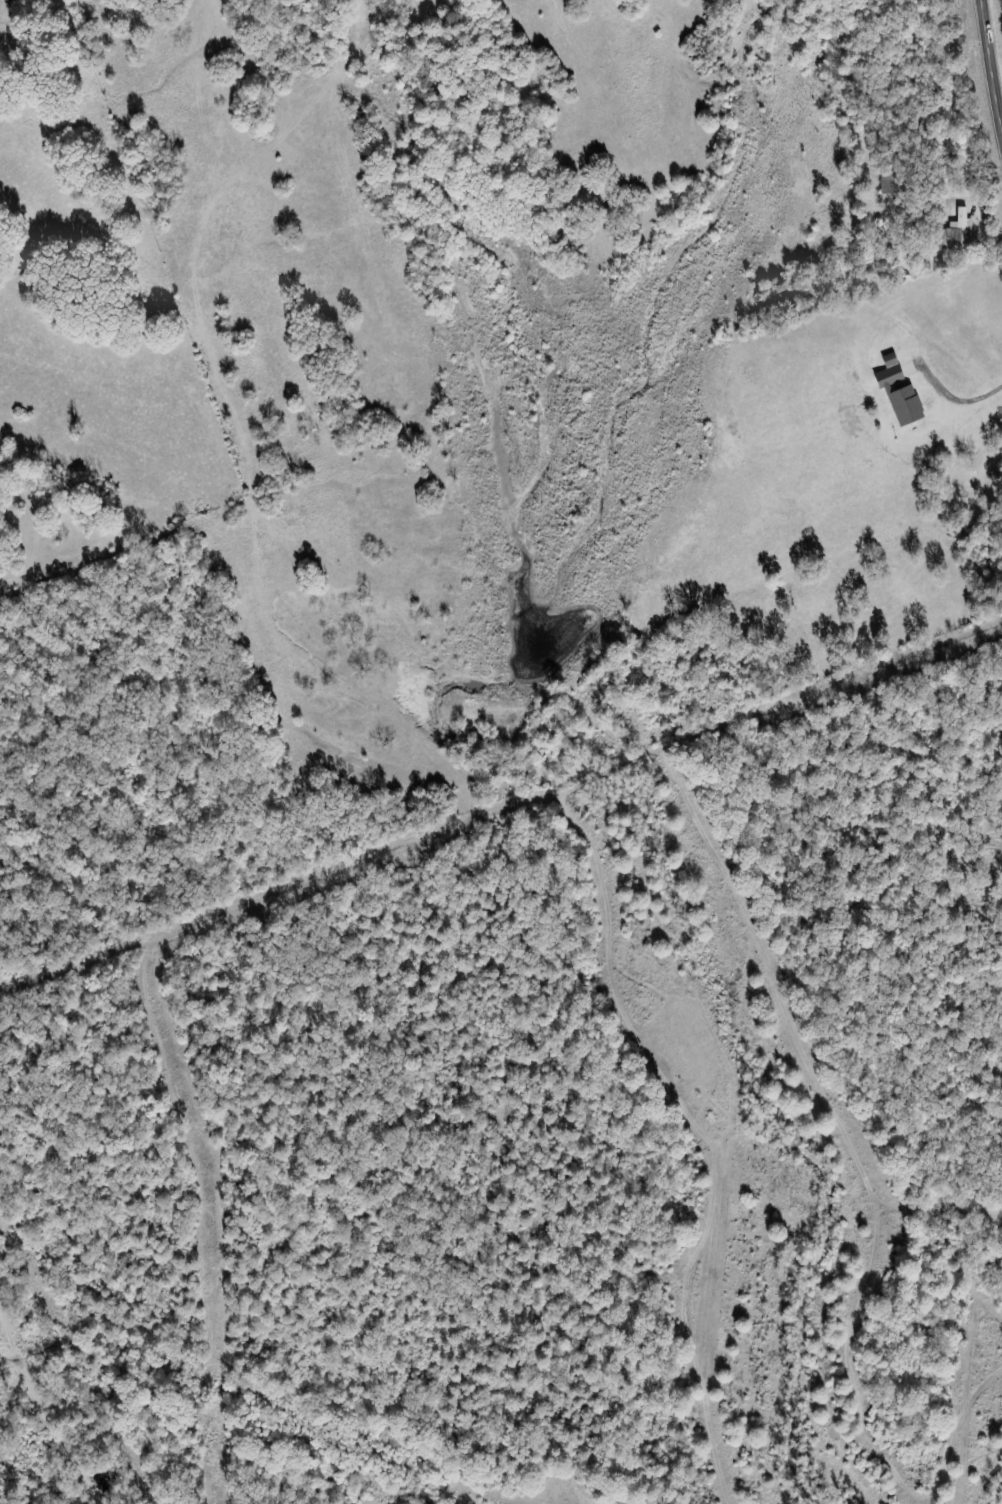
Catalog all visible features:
road: (990, 66)
building: (962, 227)
building: (902, 394)

